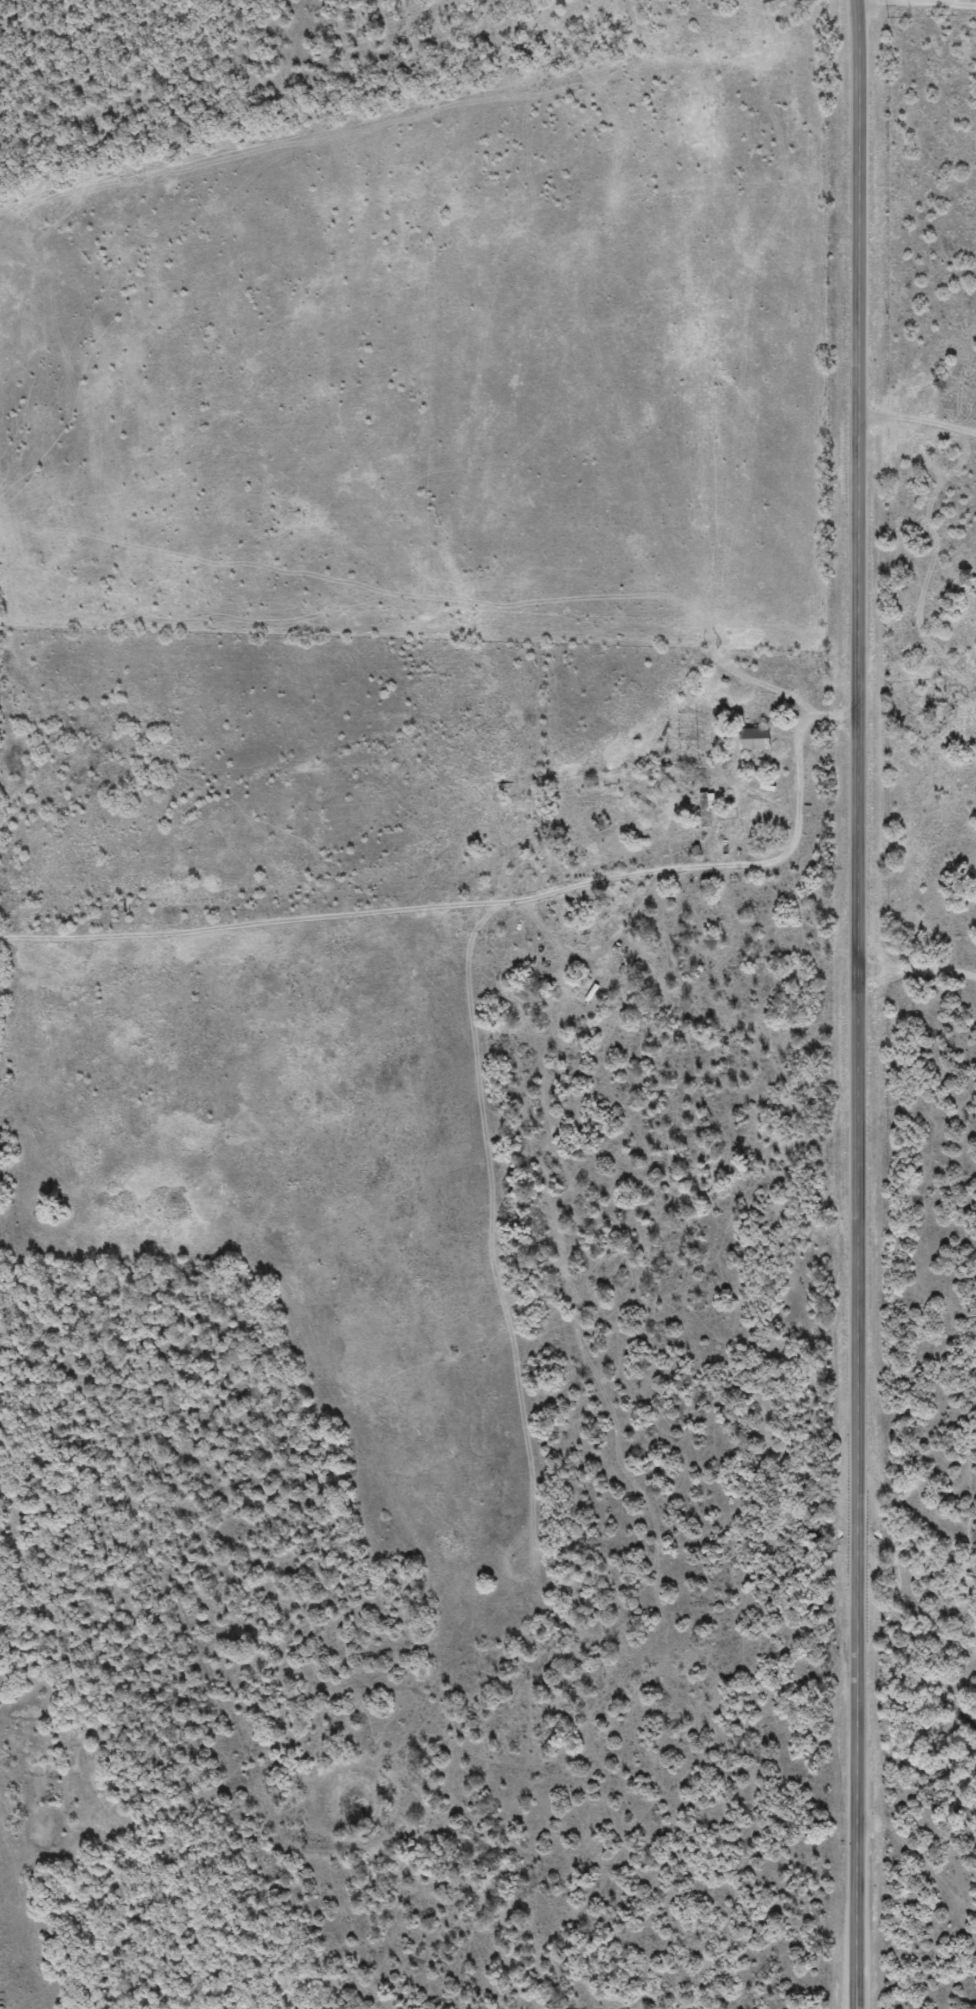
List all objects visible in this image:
building: (758, 740)
building: (708, 811)
road: (862, 1004)

